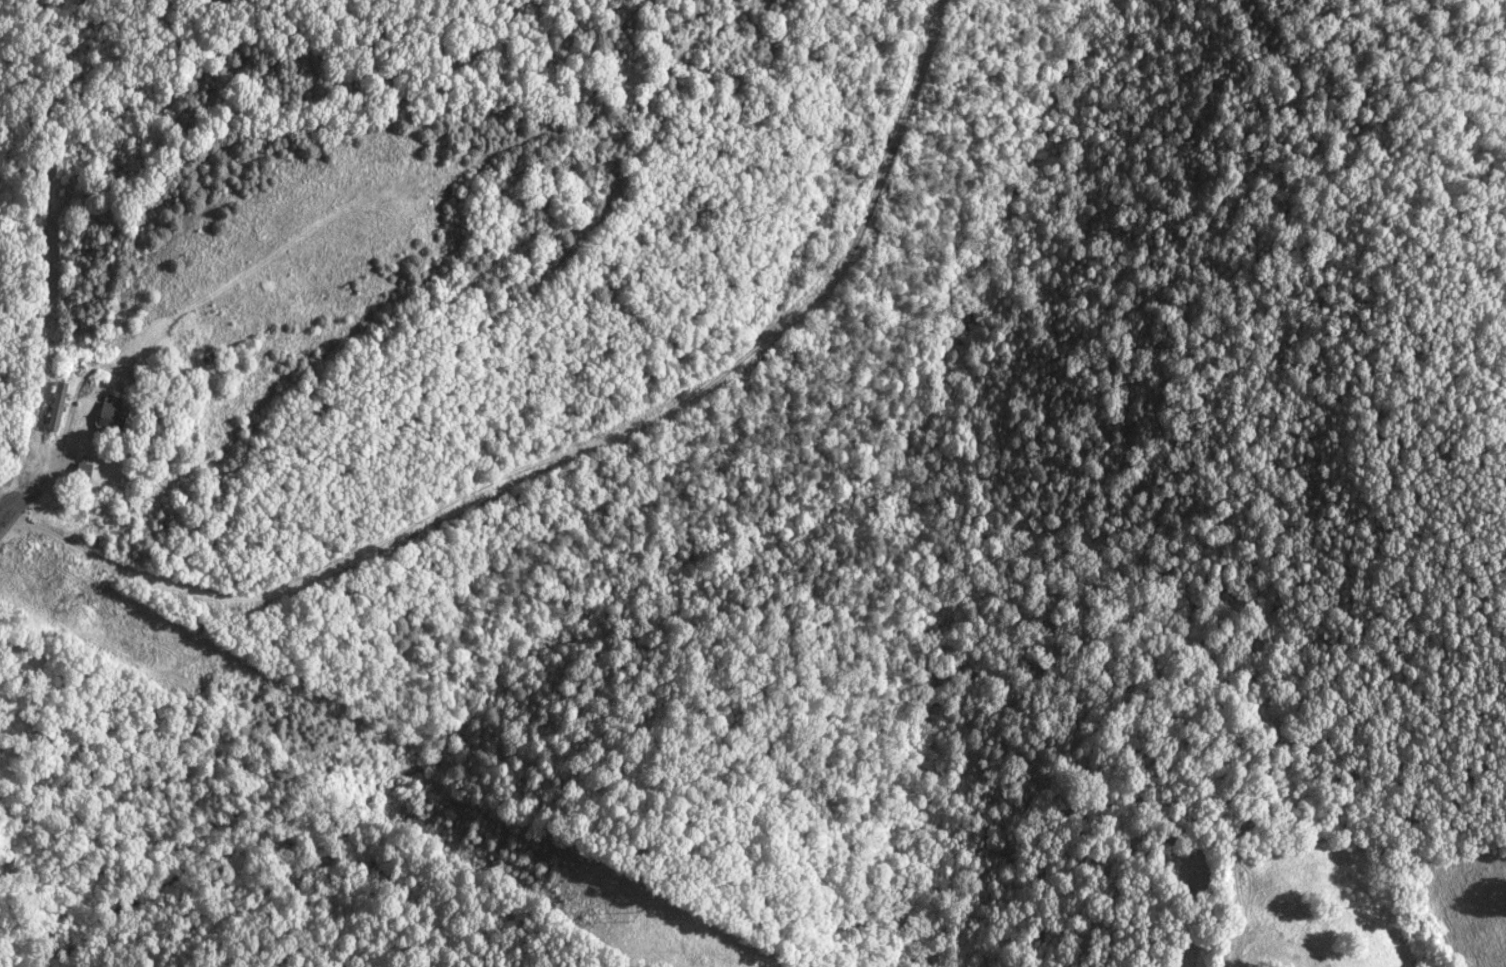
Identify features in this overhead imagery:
road: (29, 271)
building: (52, 405)
building: (105, 415)
road: (567, 446)
building: (78, 470)
road: (4, 519)
power tower: (629, 915)

